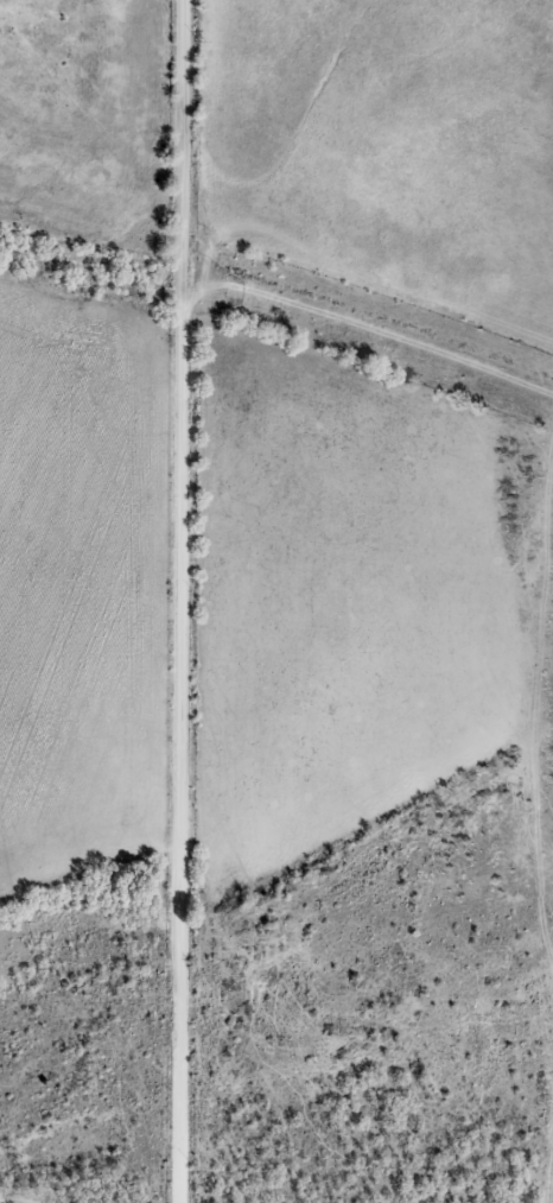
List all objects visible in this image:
railway: (280, 310)
road: (170, 601)

